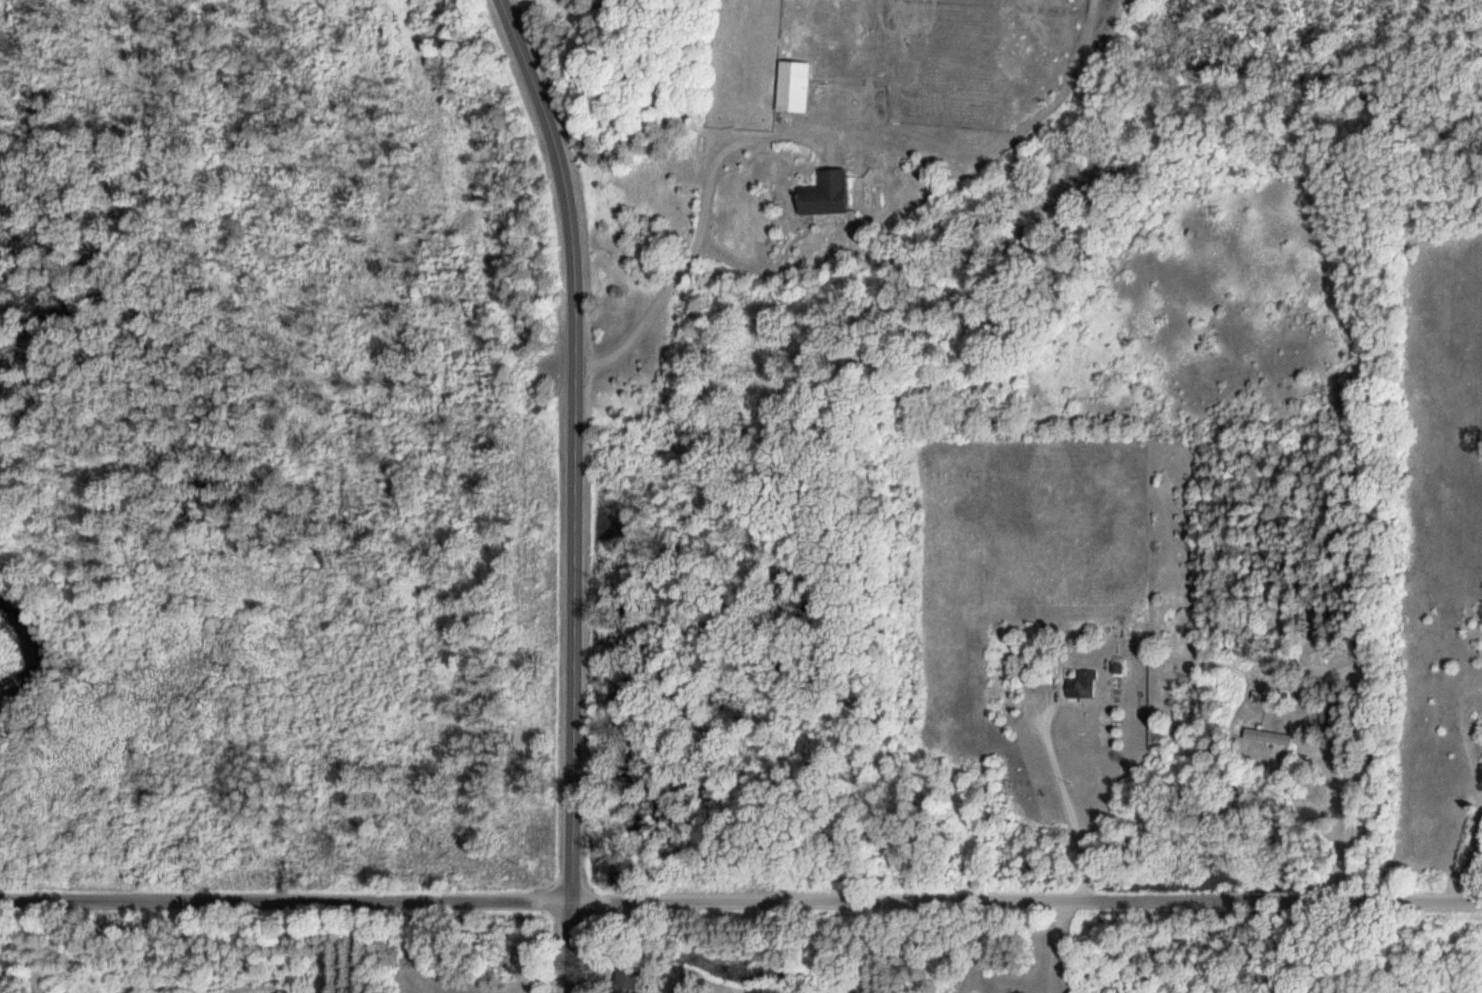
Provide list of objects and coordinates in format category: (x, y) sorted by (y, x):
building: (794, 87)
building: (826, 194)
road: (702, 221)
road: (573, 490)
river: (28, 645)
building: (1324, 660)
building: (1083, 686)
building: (1268, 738)
road: (1346, 826)
road: (1466, 854)
road: (741, 896)
building: (627, 978)

